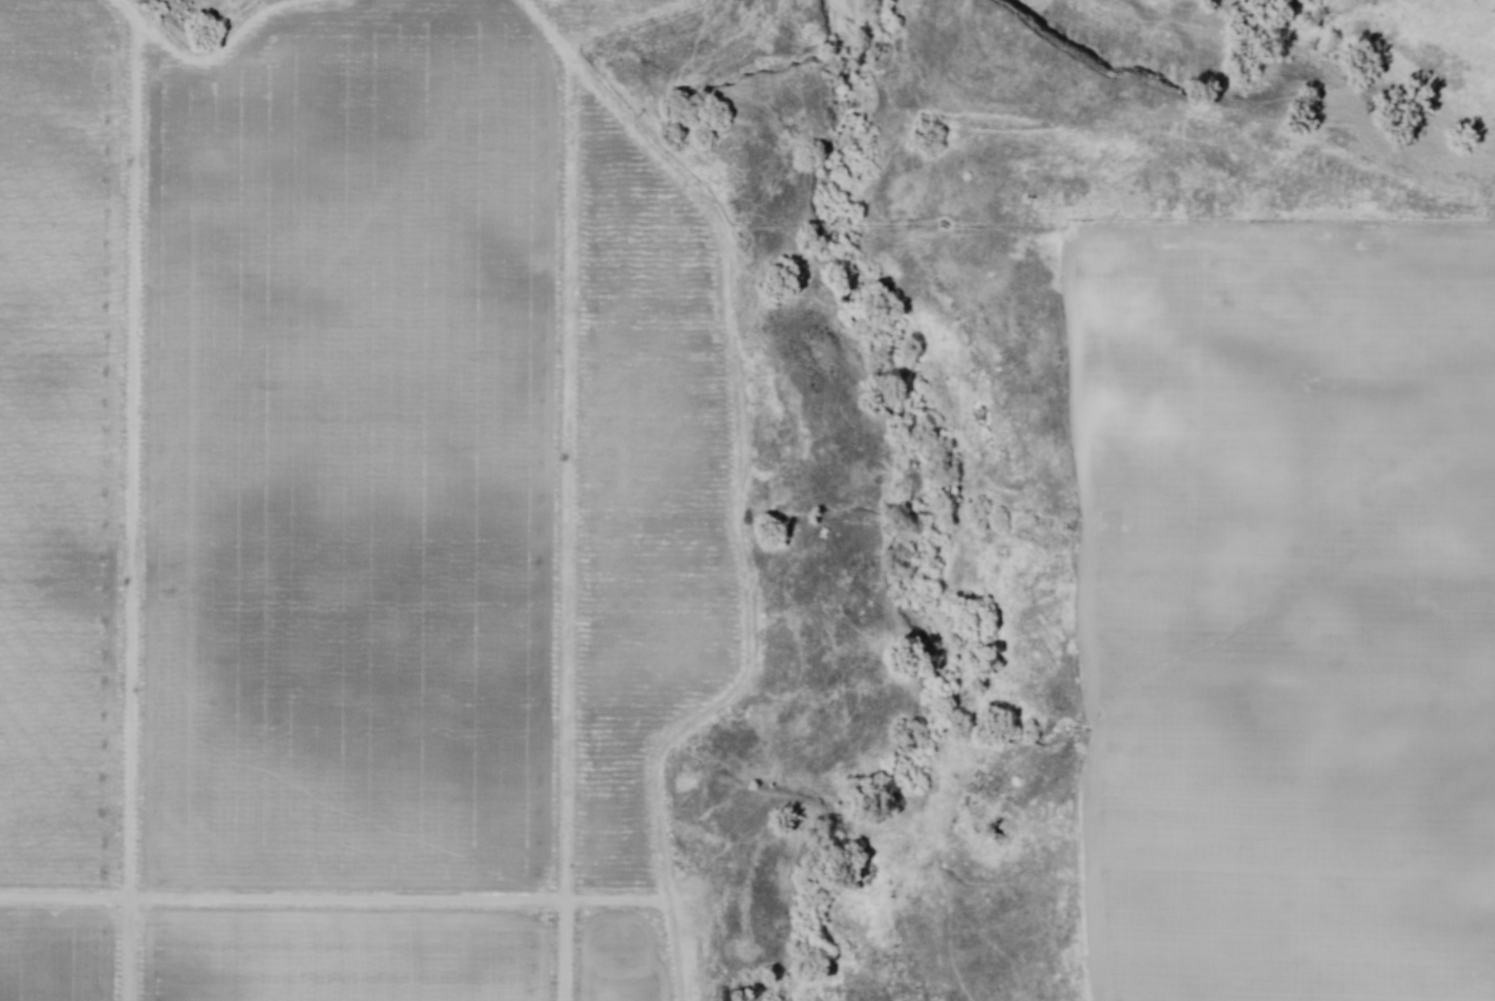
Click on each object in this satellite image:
road: (212, 59)
road: (739, 482)
road: (133, 510)
road: (571, 528)
road: (335, 900)

